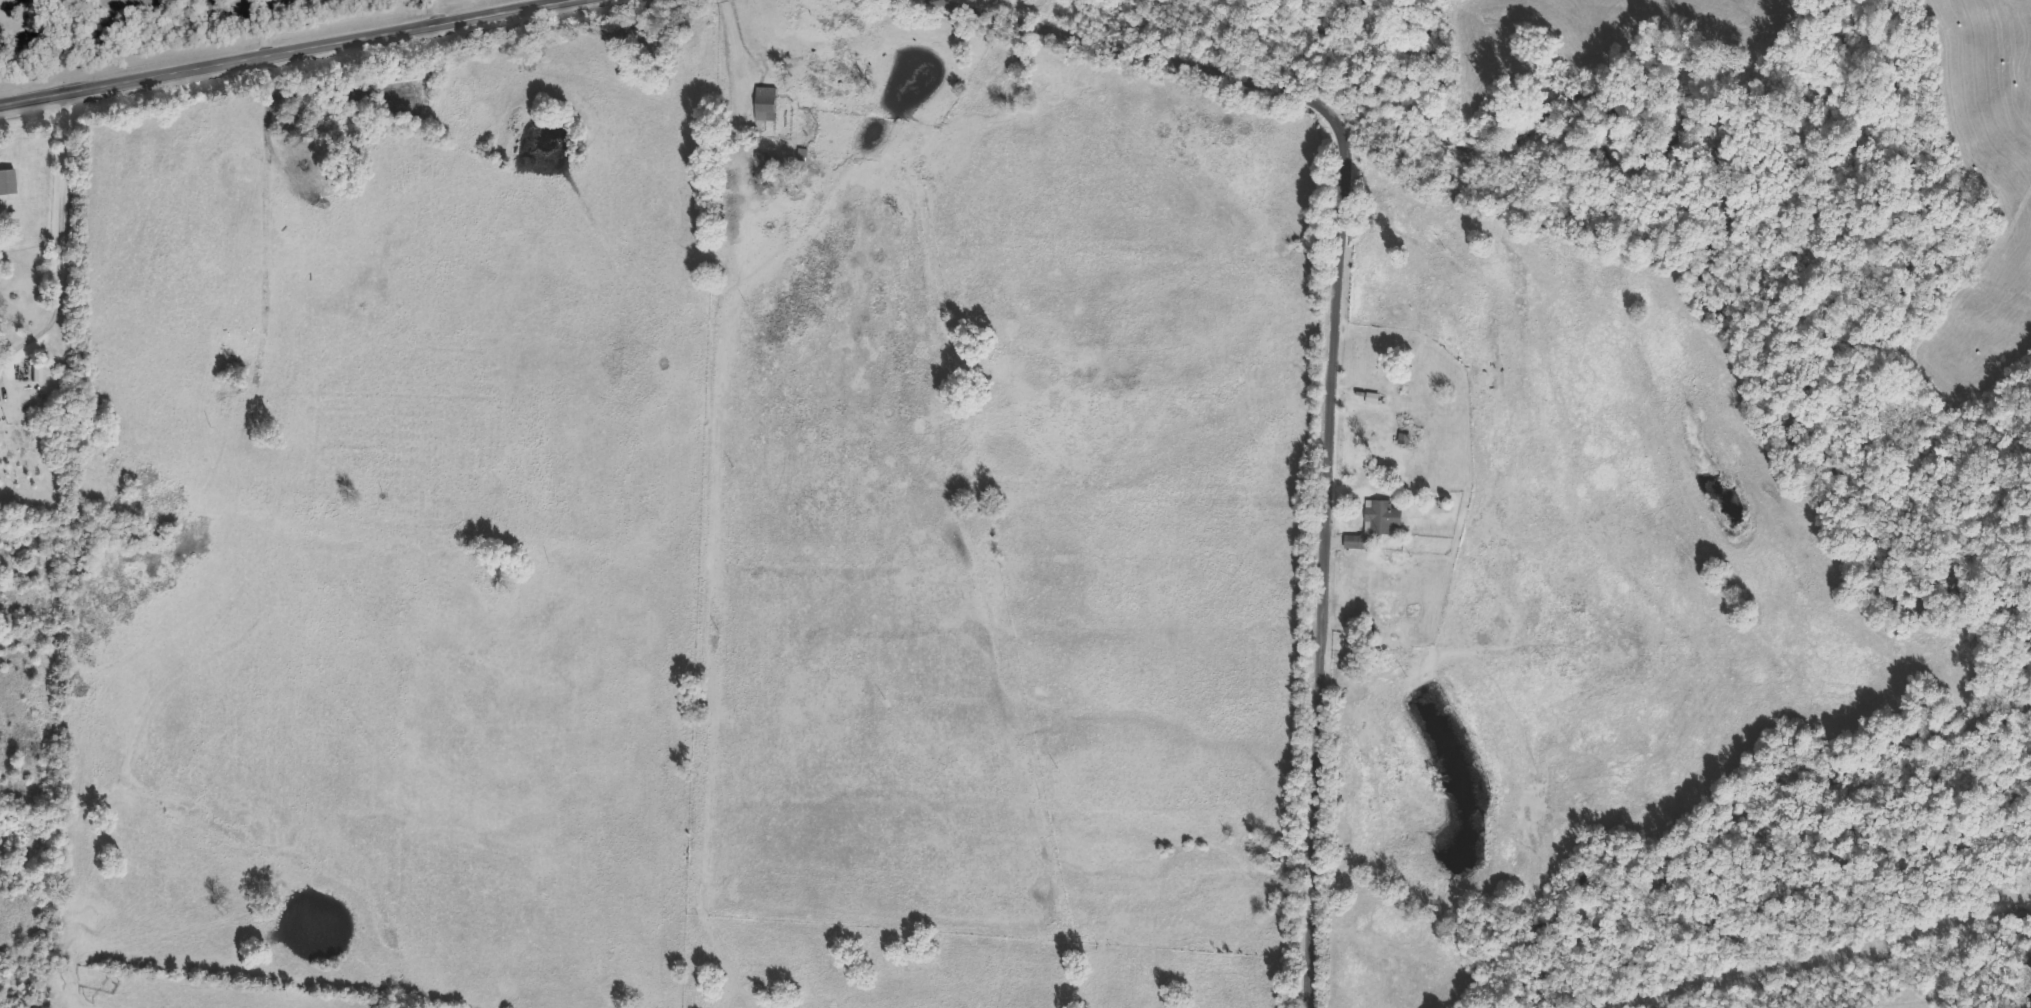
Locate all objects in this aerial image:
building: (216, 8)
road: (283, 47)
building: (767, 106)
building: (297, 159)
building: (765, 163)
building: (7, 182)
road: (62, 222)
road: (1532, 257)
road: (1334, 356)
building: (1382, 401)
building: (1368, 431)
building: (1373, 533)
building: (1359, 617)

